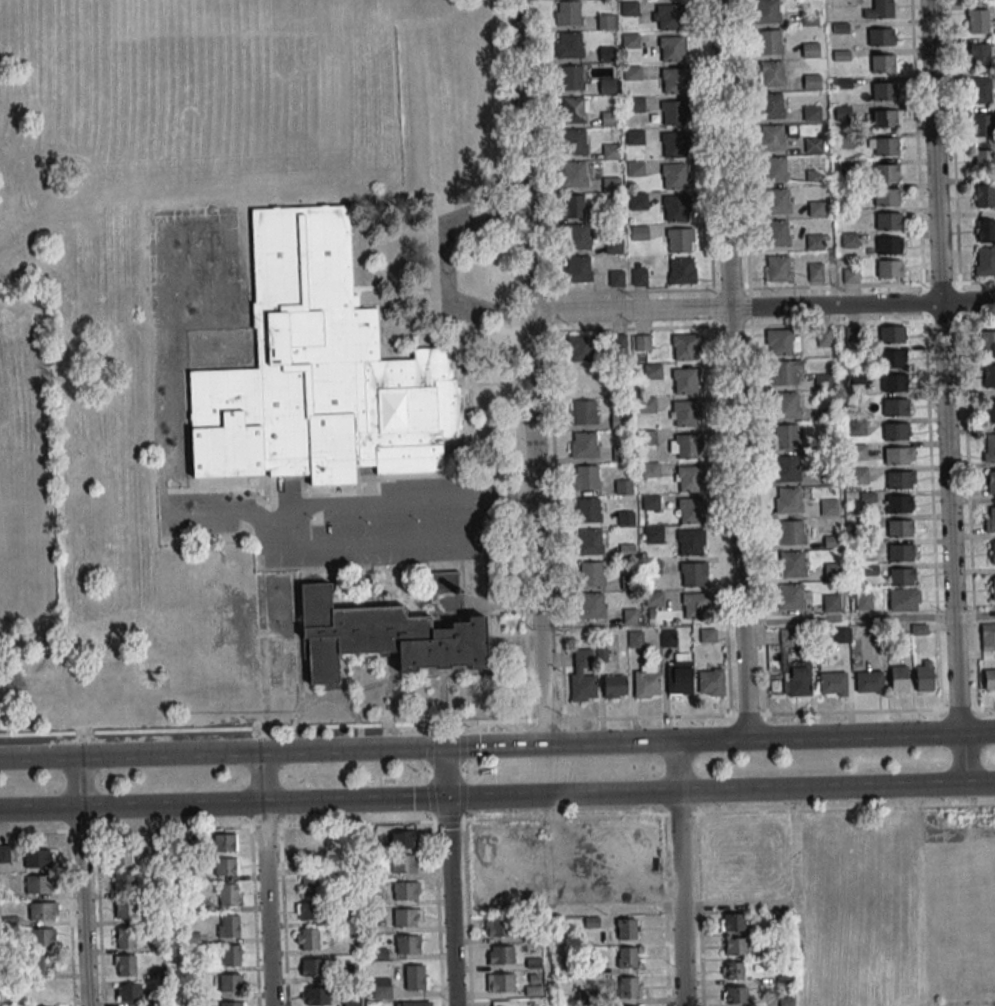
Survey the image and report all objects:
building: (629, 8)
building: (880, 9)
building: (767, 11)
building: (567, 12)
building: (670, 17)
building: (607, 21)
building: (978, 21)
building: (880, 37)
building: (630, 41)
building: (770, 41)
building: (569, 45)
building: (672, 49)
building: (810, 50)
building: (981, 55)
building: (883, 63)
building: (632, 72)
building: (772, 74)
building: (571, 77)
building: (675, 80)
building: (811, 81)
building: (608, 86)
building: (980, 90)
building: (883, 91)
building: (634, 104)
building: (771, 106)
building: (574, 109)
building: (674, 113)
building: (811, 113)
building: (886, 118)
building: (982, 125)
building: (635, 137)
building: (771, 137)
building: (574, 142)
building: (675, 144)
building: (812, 144)
building: (884, 146)
building: (609, 152)
building: (984, 160)
building: (635, 169)
building: (776, 169)
building: (886, 172)
building: (573, 174)
building: (675, 176)
building: (611, 184)
building: (984, 196)
building: (887, 197)
building: (638, 201)
building: (777, 201)
building: (572, 206)
building: (676, 208)
building: (816, 209)
building: (889, 221)
building: (985, 231)
building: (639, 233)
building: (778, 233)
building: (578, 236)
building: (680, 240)
building: (848, 240)
building: (814, 241)
building: (613, 245)
building: (890, 245)
building: (985, 261)
road: (447, 263)
building: (777, 268)
building: (577, 269)
building: (889, 269)
building: (682, 271)
building: (815, 272)
building: (639, 276)
building: (616, 278)
road: (761, 308)
building: (892, 334)
building: (824, 337)
park: (99, 342)
building: (642, 342)
building: (782, 342)
building: (988, 343)
building: (686, 347)
building: (580, 348)
building: (893, 358)
road: (940, 368)
building: (653, 371)
road: (731, 371)
building: (319, 372)
road: (530, 373)
building: (786, 373)
building: (988, 376)
building: (686, 381)
building: (822, 381)
building: (894, 383)
building: (646, 404)
building: (787, 404)
building: (896, 407)
building: (990, 411)
building: (583, 412)
building: (686, 414)
building: (619, 421)
building: (896, 431)
building: (785, 436)
building: (648, 437)
building: (583, 445)
building: (688, 446)
building: (988, 448)
building: (899, 455)
building: (786, 468)
building: (650, 469)
building: (859, 476)
building: (586, 477)
building: (690, 479)
building: (899, 479)
building: (991, 482)
building: (624, 487)
building: (788, 500)
building: (651, 502)
building: (898, 504)
building: (829, 508)
building: (588, 510)
building: (691, 511)
building: (625, 518)
building: (989, 519)
building: (900, 527)
building: (790, 532)
building: (653, 534)
building: (591, 541)
building: (690, 542)
road: (356, 546)
building: (900, 552)
building: (991, 552)
building: (791, 564)
building: (652, 566)
building: (832, 571)
building: (592, 573)
building: (693, 574)
building: (902, 576)
building: (444, 583)
building: (992, 588)
building: (791, 596)
building: (903, 599)
building: (864, 600)
building: (831, 603)
building: (650, 604)
building: (591, 605)
building: (696, 606)
building: (630, 616)
road: (868, 617)
building: (707, 635)
building: (382, 637)
building: (789, 637)
building: (988, 637)
building: (668, 638)
building: (635, 639)
building: (274, 661)
building: (583, 675)
building: (678, 675)
building: (925, 676)
building: (797, 679)
building: (899, 679)
building: (990, 679)
building: (646, 681)
building: (869, 681)
building: (711, 682)
building: (832, 684)
building: (614, 686)
road: (748, 715)
road: (771, 741)
road: (496, 748)
traffic signals: (445, 749)
road: (222, 756)
road: (965, 758)
road: (678, 766)
road: (446, 771)
road: (263, 777)
road: (78, 782)
road: (497, 792)
traffic signals: (447, 794)
road: (728, 813)
road: (231, 826)
building: (403, 839)
building: (225, 842)
building: (309, 847)
building: (122, 856)
building: (39, 857)
building: (403, 864)
building: (226, 866)
building: (124, 881)
building: (39, 884)
building: (310, 885)
building: (406, 891)
building: (229, 895)
road: (680, 897)
road: (450, 900)
road: (266, 902)
road: (82, 905)
building: (126, 910)
building: (43, 911)
building: (308, 911)
building: (407, 917)
building: (732, 922)
building: (229, 926)
building: (855, 927)
building: (499, 928)
building: (626, 928)
building: (42, 937)
building: (125, 937)
building: (307, 939)
building: (408, 944)
building: (735, 946)
building: (232, 955)
building: (500, 955)
building: (627, 957)
building: (42, 964)
building: (125, 965)
building: (313, 967)
building: (733, 971)
building: (417, 977)
building: (230, 983)
building: (499, 983)
building: (629, 987)
building: (382, 989)
building: (129, 993)
building: (734, 995)
building: (316, 996)
building: (500, 1003)

